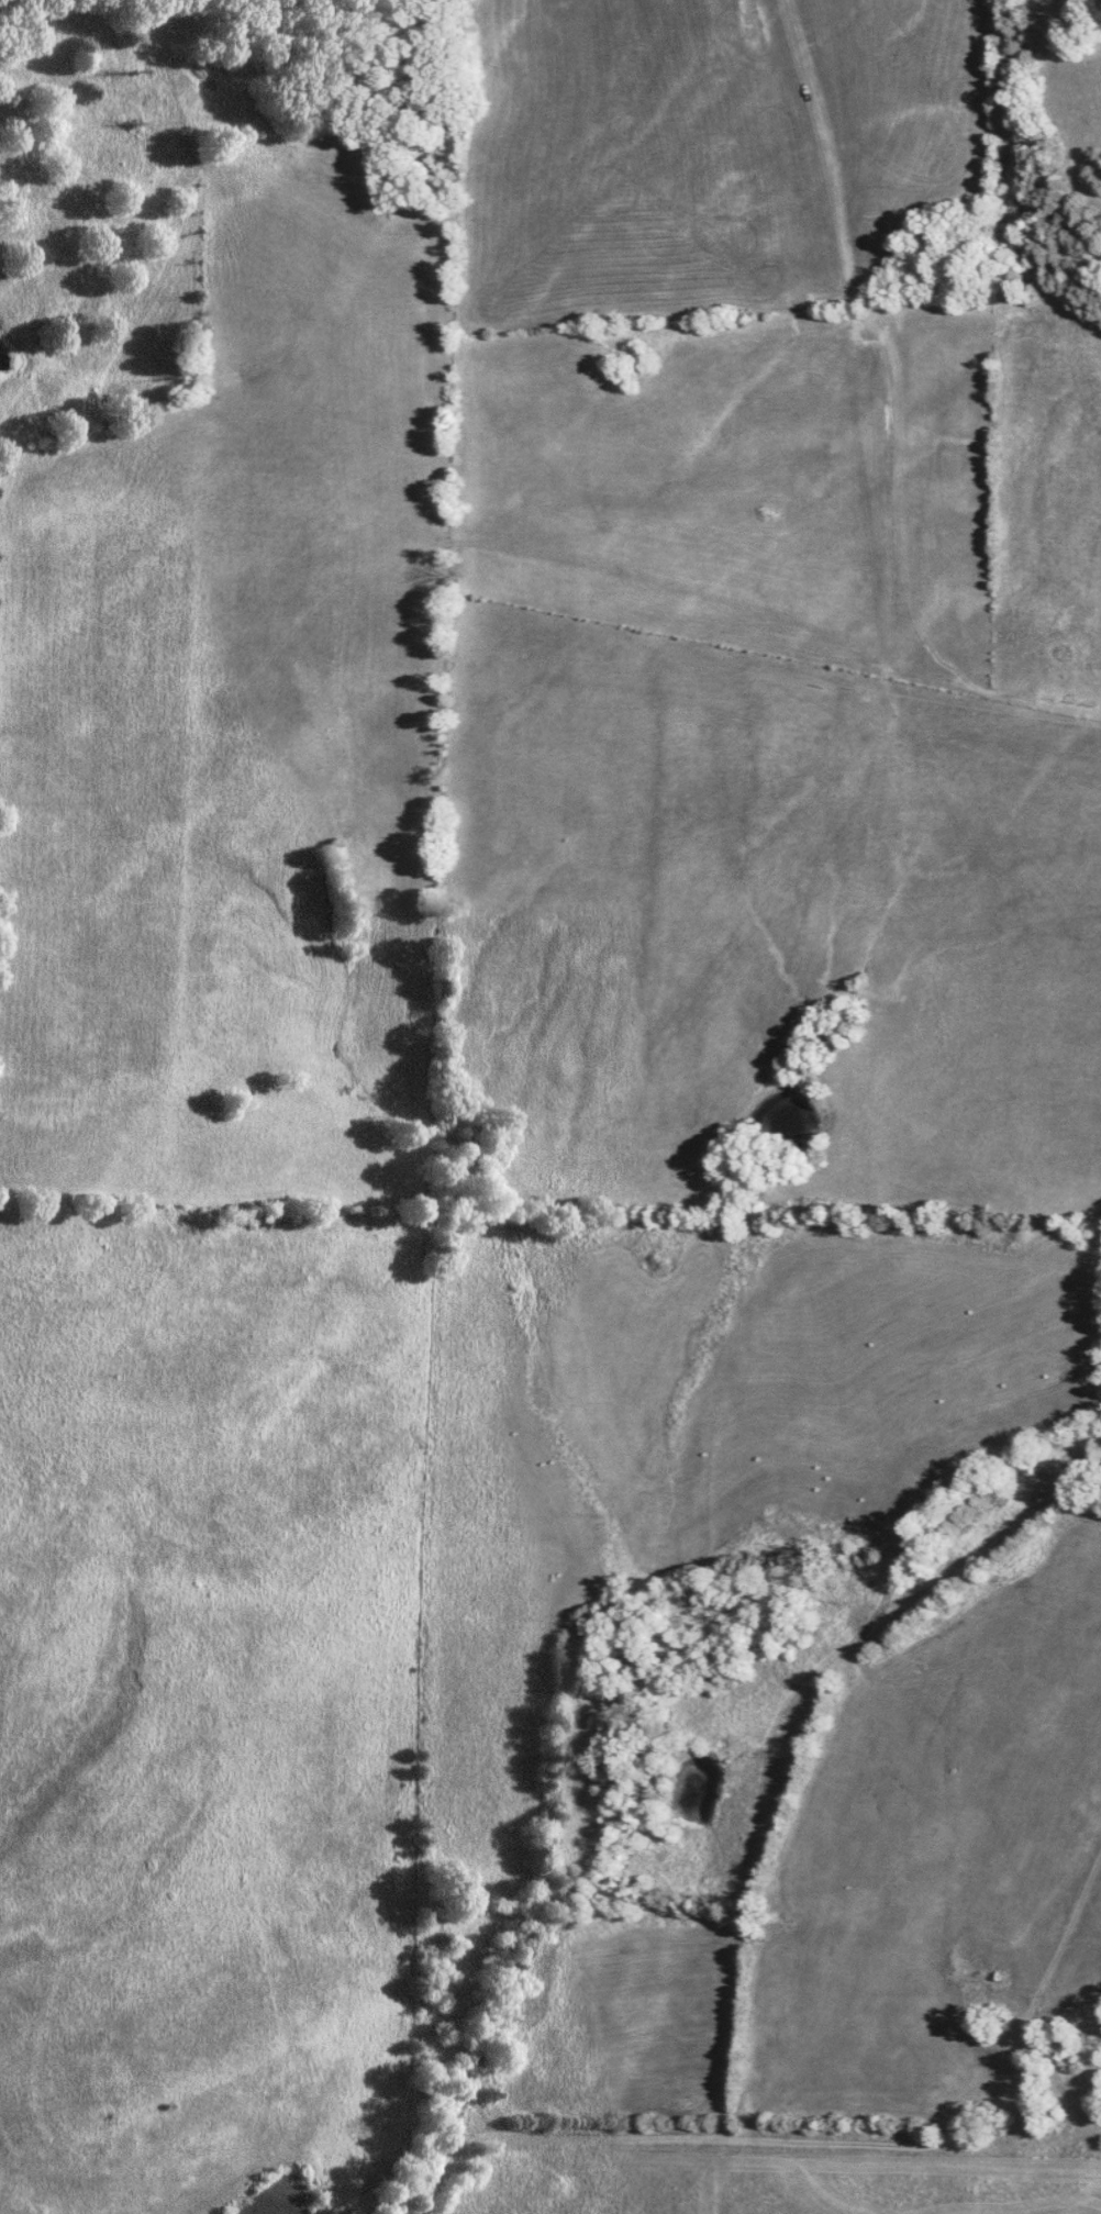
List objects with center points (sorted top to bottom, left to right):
road: (744, 2144)

